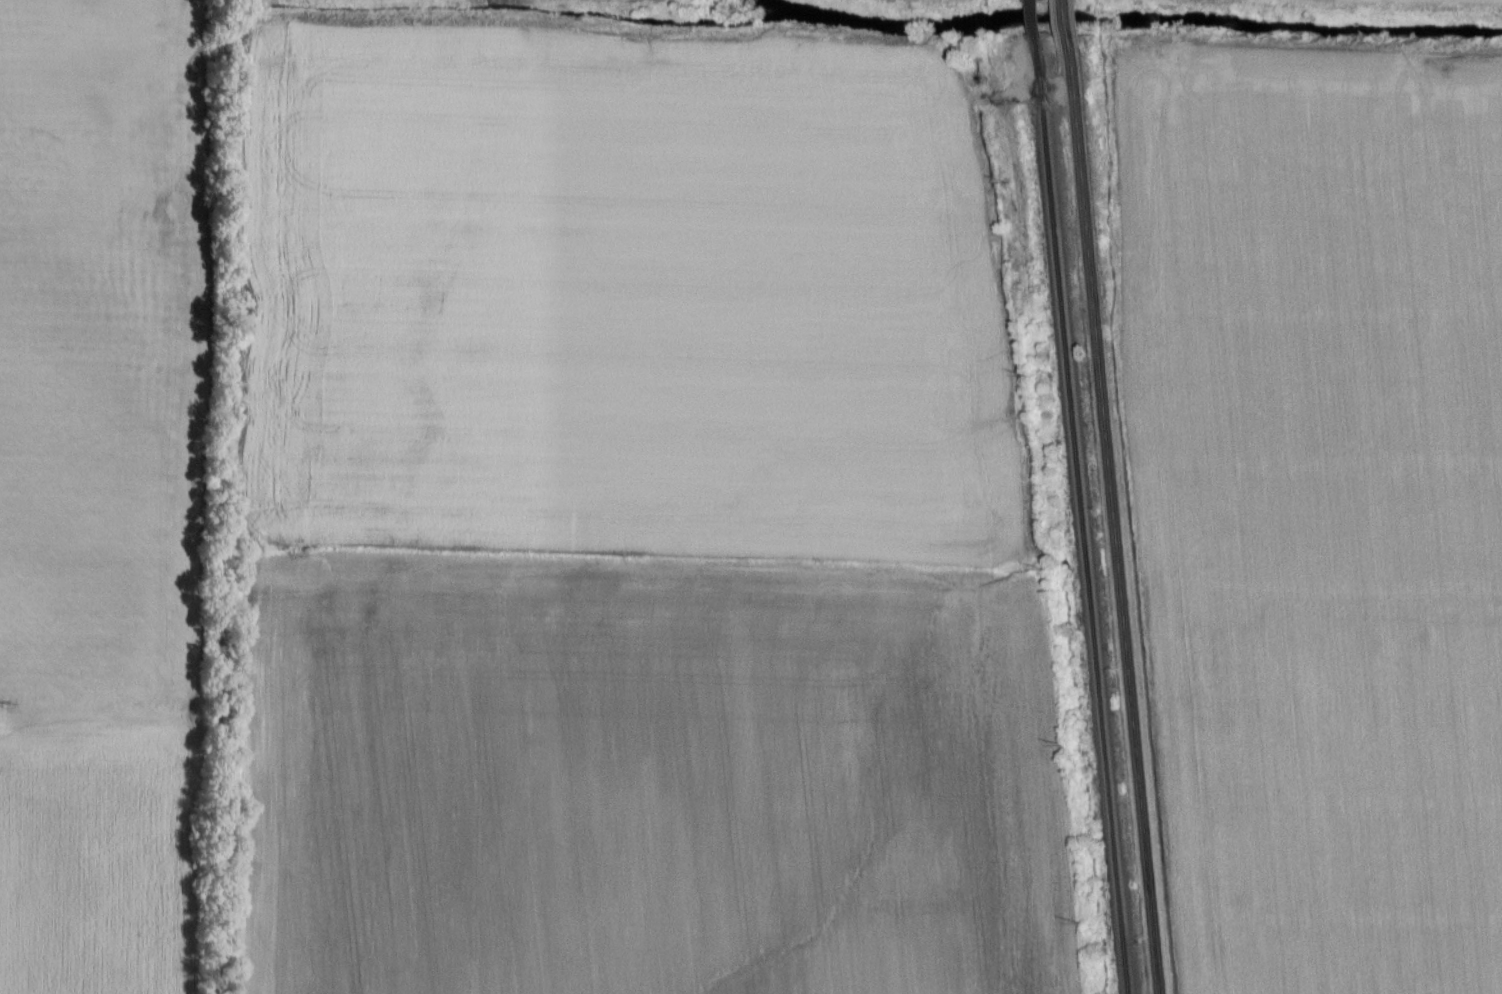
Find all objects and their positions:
railway: (1033, 19)
road: (1115, 496)
railway: (1081, 516)

